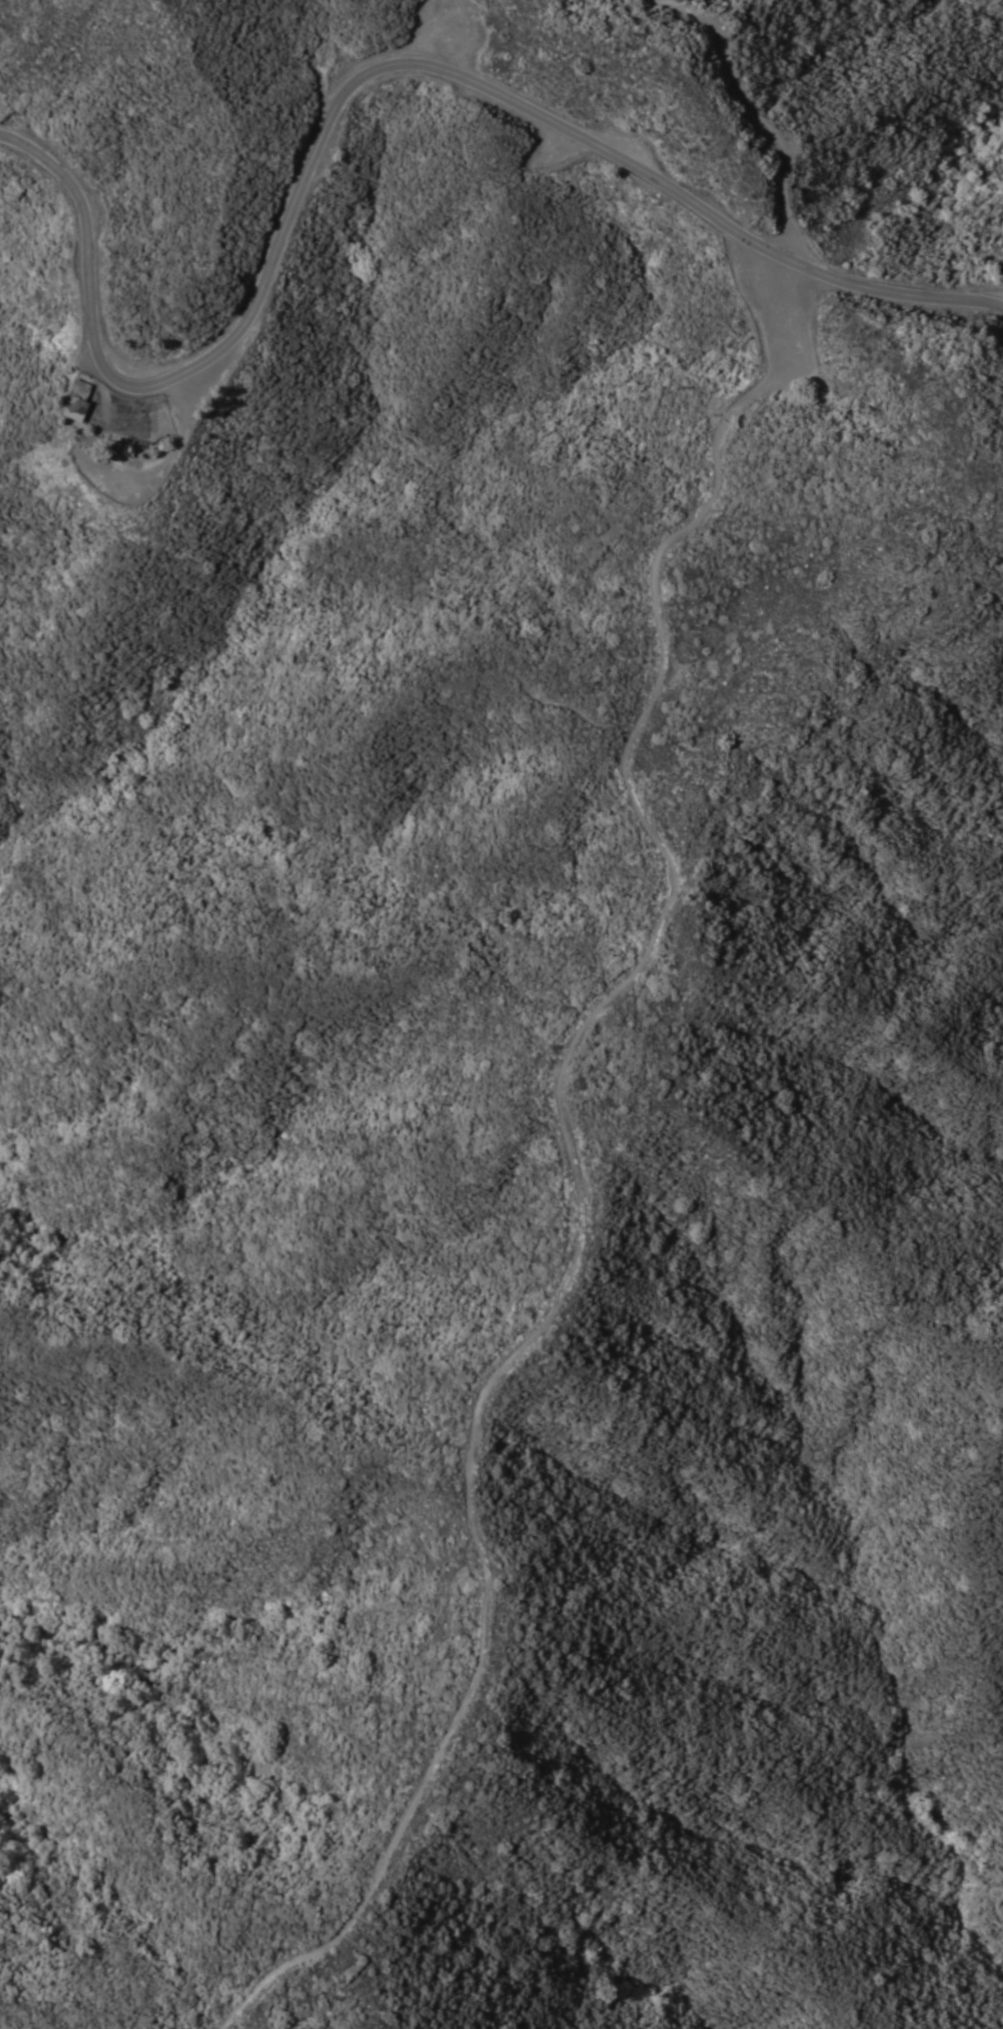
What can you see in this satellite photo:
road: (353, 82)
road: (752, 115)
building: (76, 399)
road: (143, 406)
road: (572, 1161)

